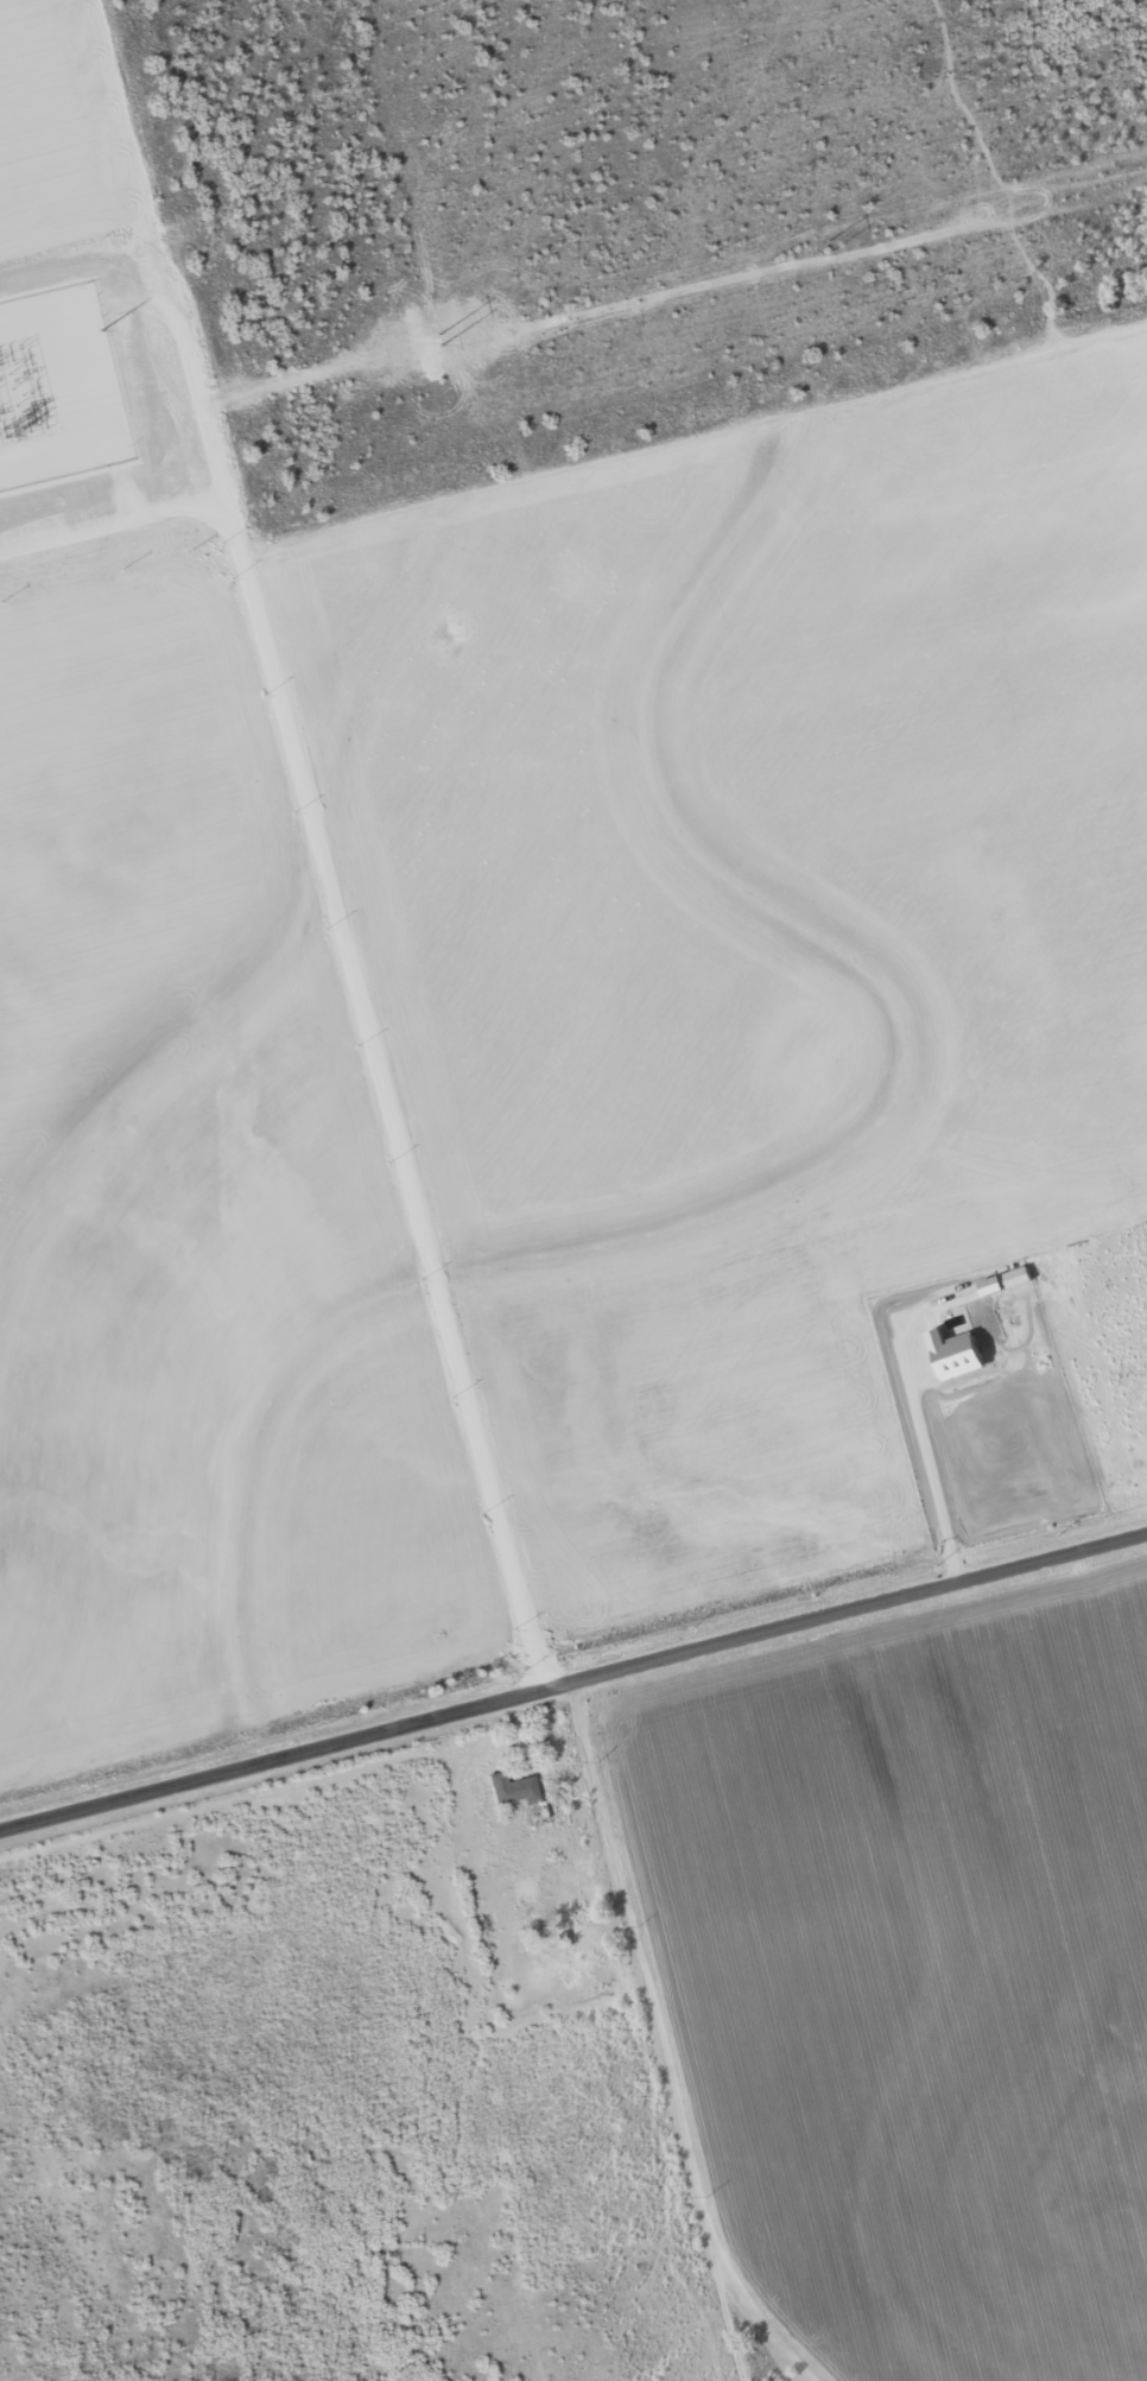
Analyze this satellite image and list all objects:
power tower: (825, 246)
power tower: (442, 340)
power tower: (59, 433)
road: (573, 1680)
building: (521, 1793)
building: (565, 1914)
building: (538, 1927)
road: (663, 2046)

